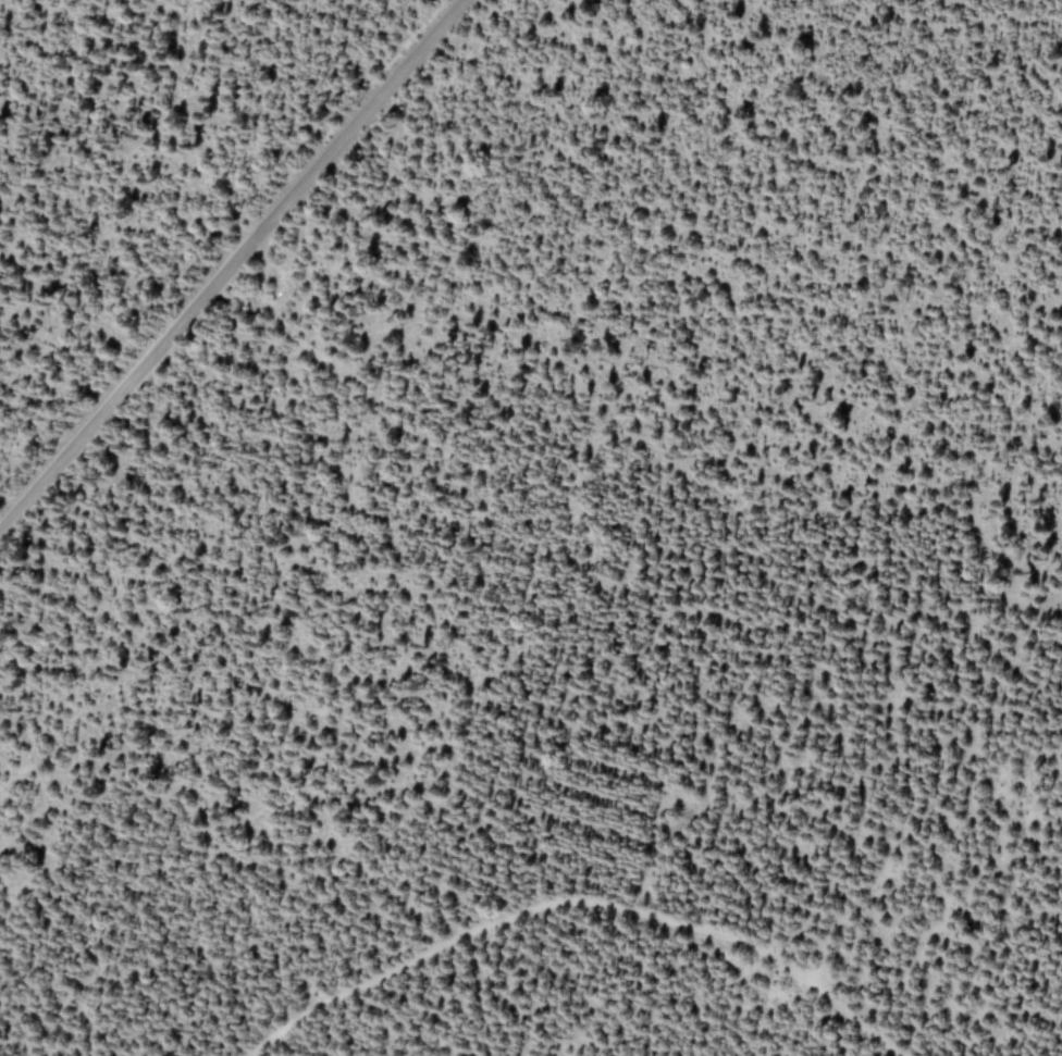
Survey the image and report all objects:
road: (231, 264)
road: (576, 900)

